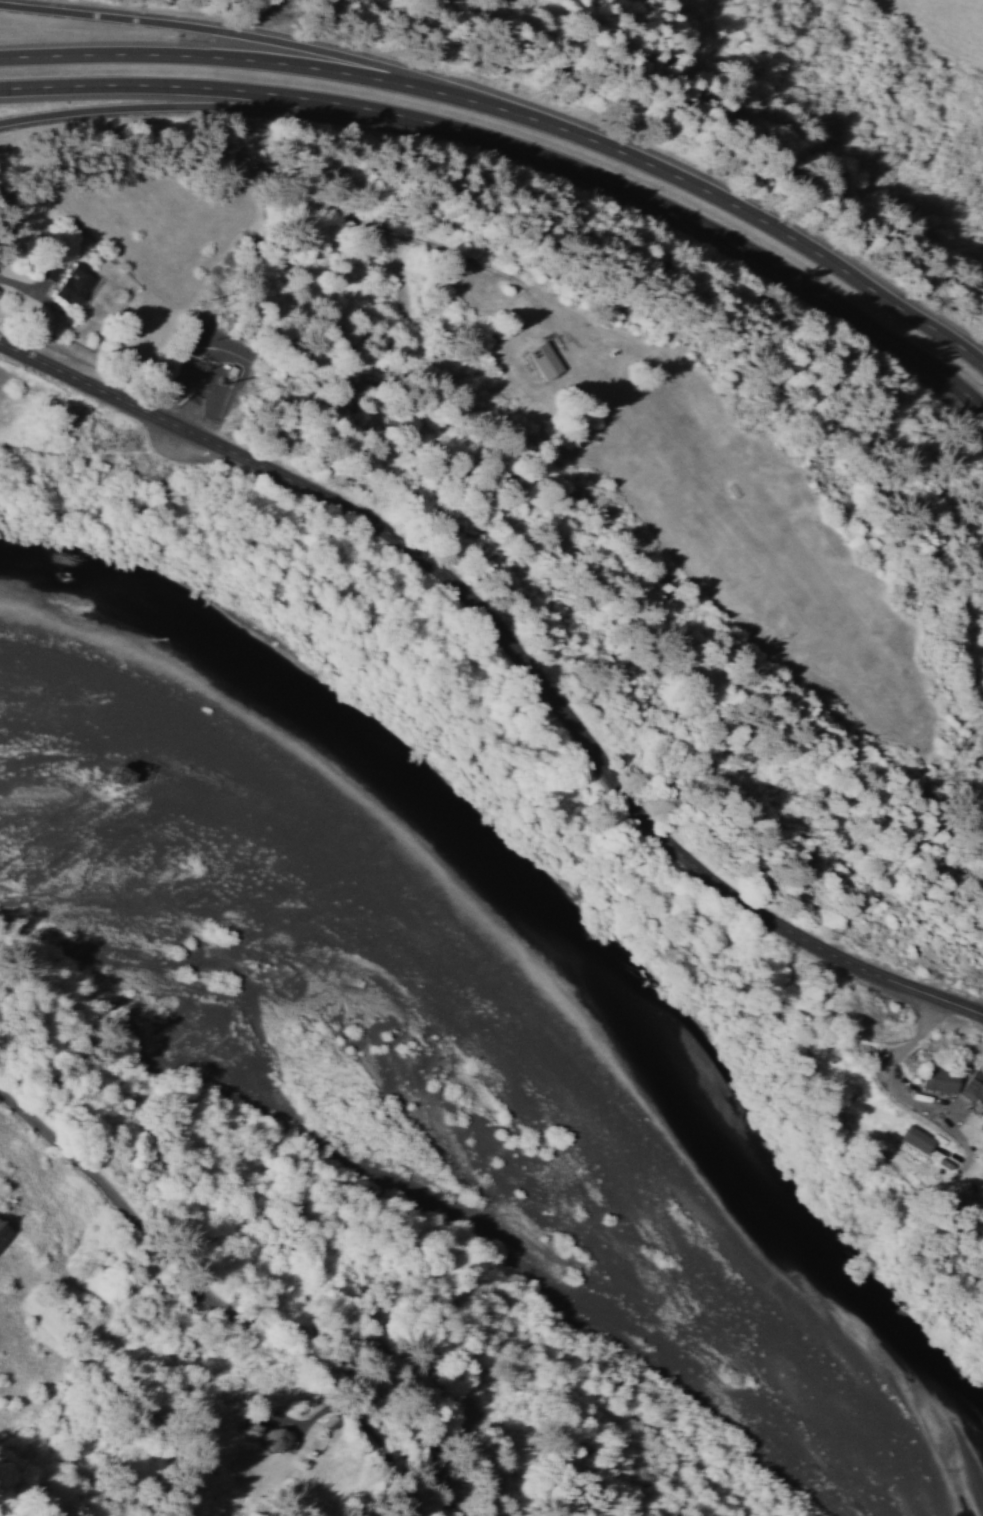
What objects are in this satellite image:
road: (235, 31)
road: (187, 104)
road: (521, 114)
road: (522, 149)
building: (76, 285)
power substation: (204, 377)
road: (519, 645)
building: (937, 1079)
river: (238, 1087)
building: (971, 1087)
building: (913, 1138)
building: (2, 1224)
river: (554, 1225)
railway: (293, 1261)
road: (248, 1323)
river: (778, 1358)

